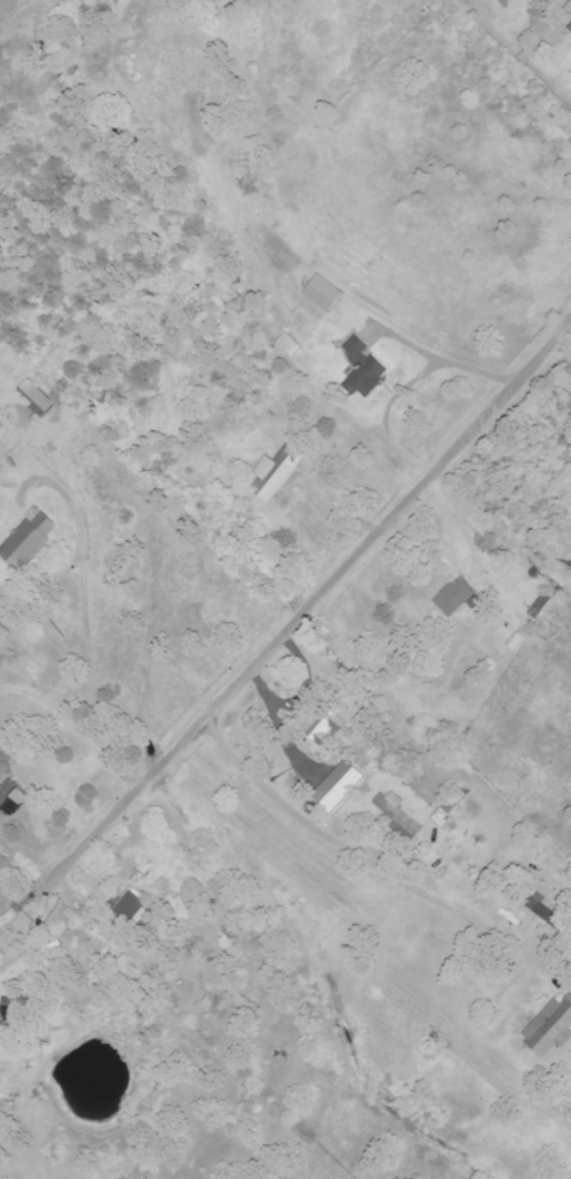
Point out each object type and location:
building: (327, 294)
building: (365, 369)
building: (38, 399)
building: (280, 472)
building: (31, 540)
road: (85, 595)
building: (456, 597)
road: (285, 624)
building: (324, 725)
road: (73, 727)
building: (14, 797)
building: (401, 817)
road: (373, 864)
building: (135, 902)
building: (551, 1028)

